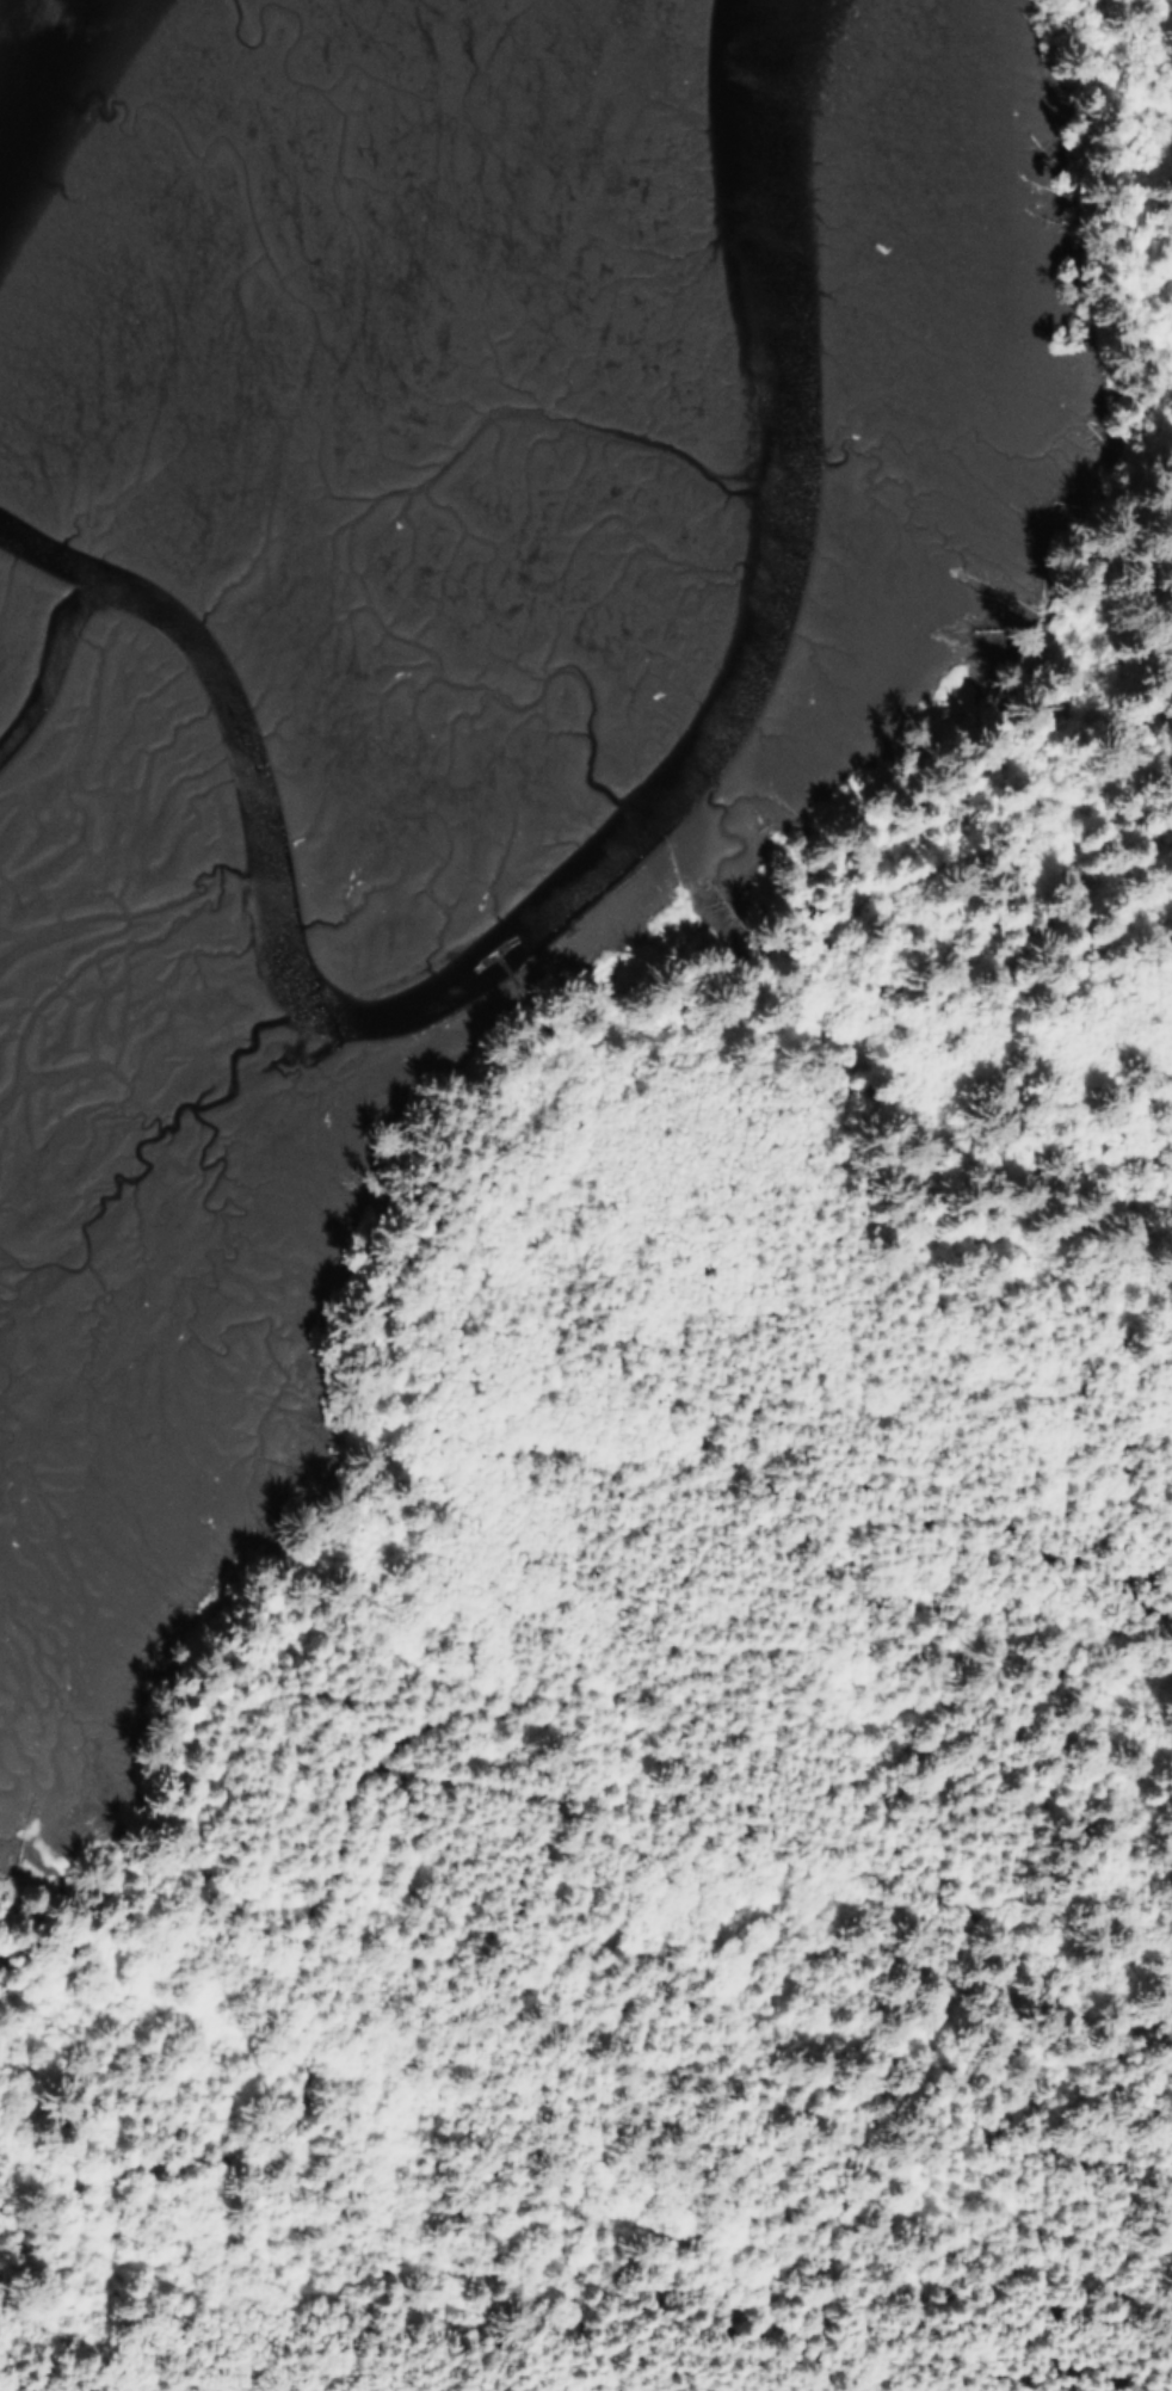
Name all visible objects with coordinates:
road: (467, 1449)
road: (1145, 1473)

